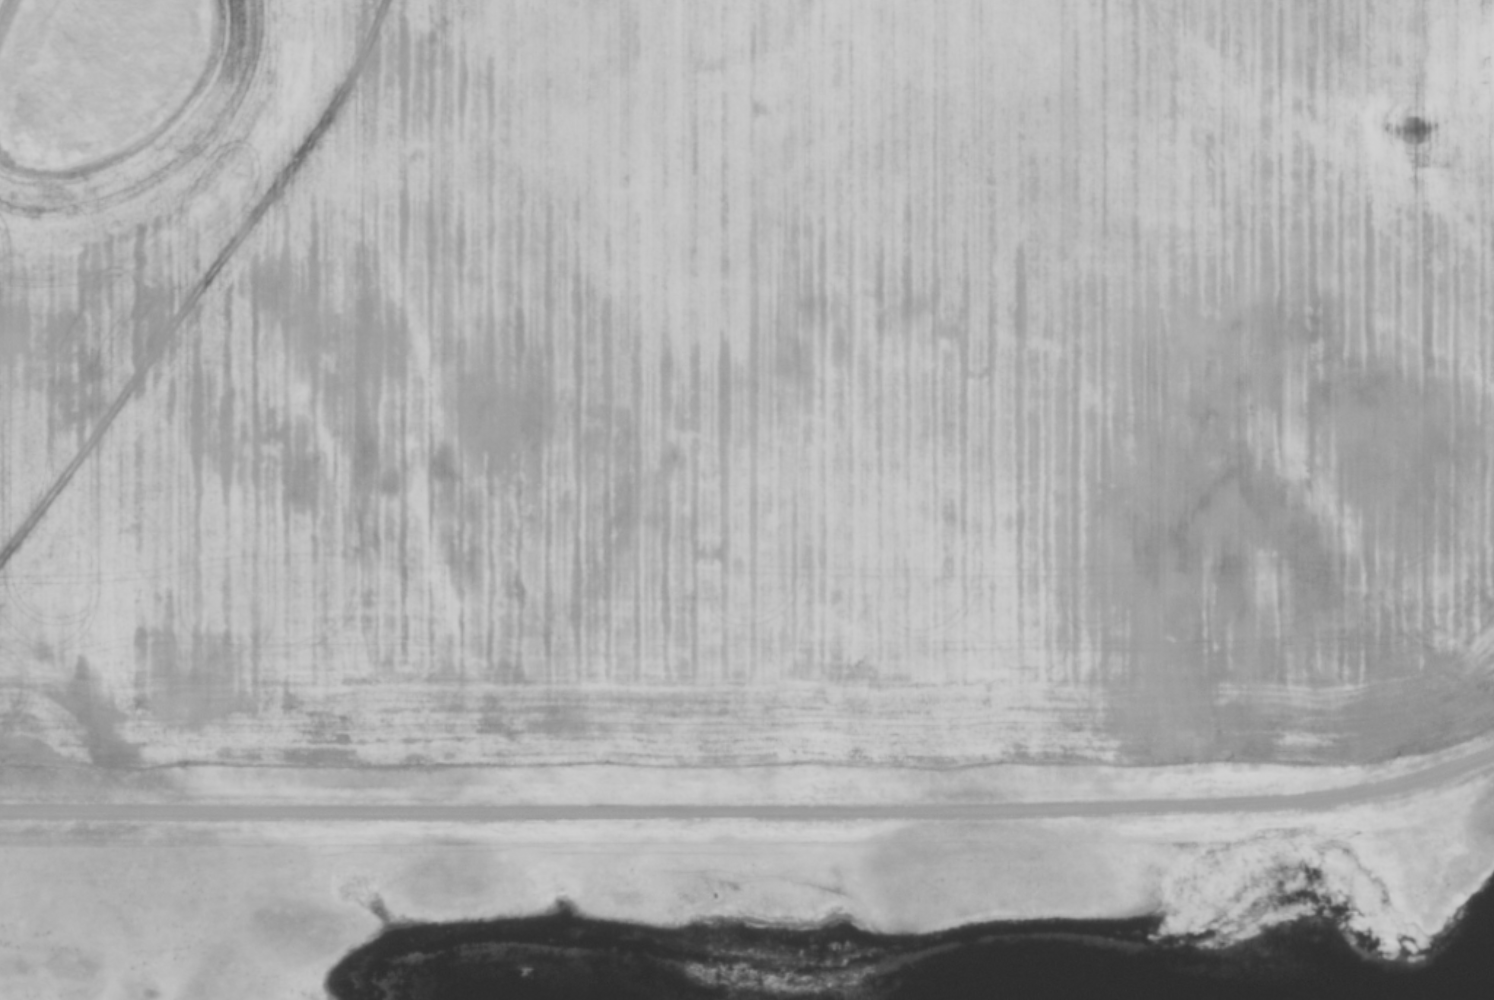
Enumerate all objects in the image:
road: (750, 809)

